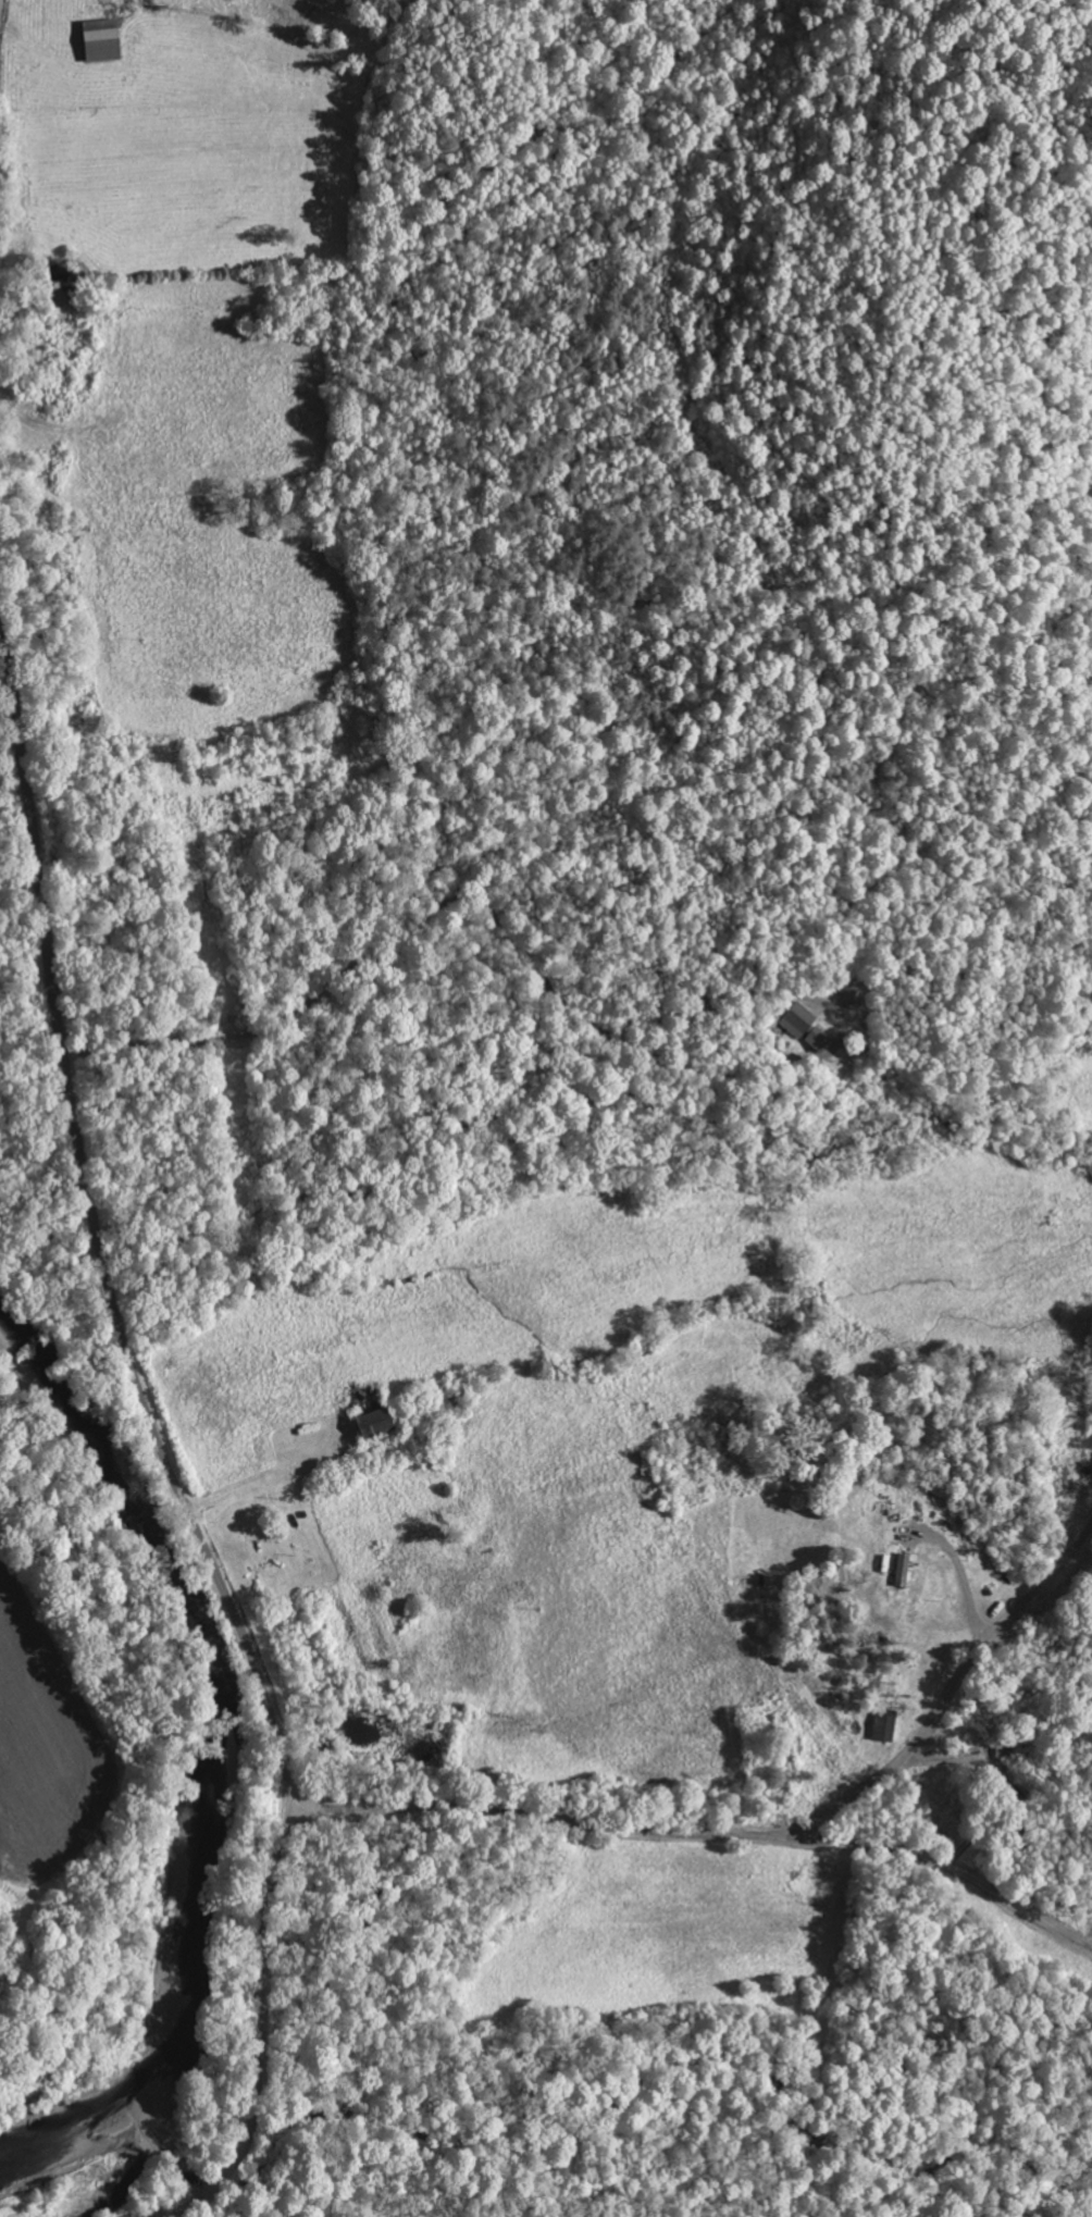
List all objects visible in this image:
building: (104, 41)
building: (801, 1021)
building: (820, 1040)
road: (96, 1239)
building: (380, 1423)
building: (905, 1571)
building: (921, 1573)
road: (951, 1687)
building: (886, 1726)
road: (878, 1731)
road: (702, 1832)
road: (256, 2033)

